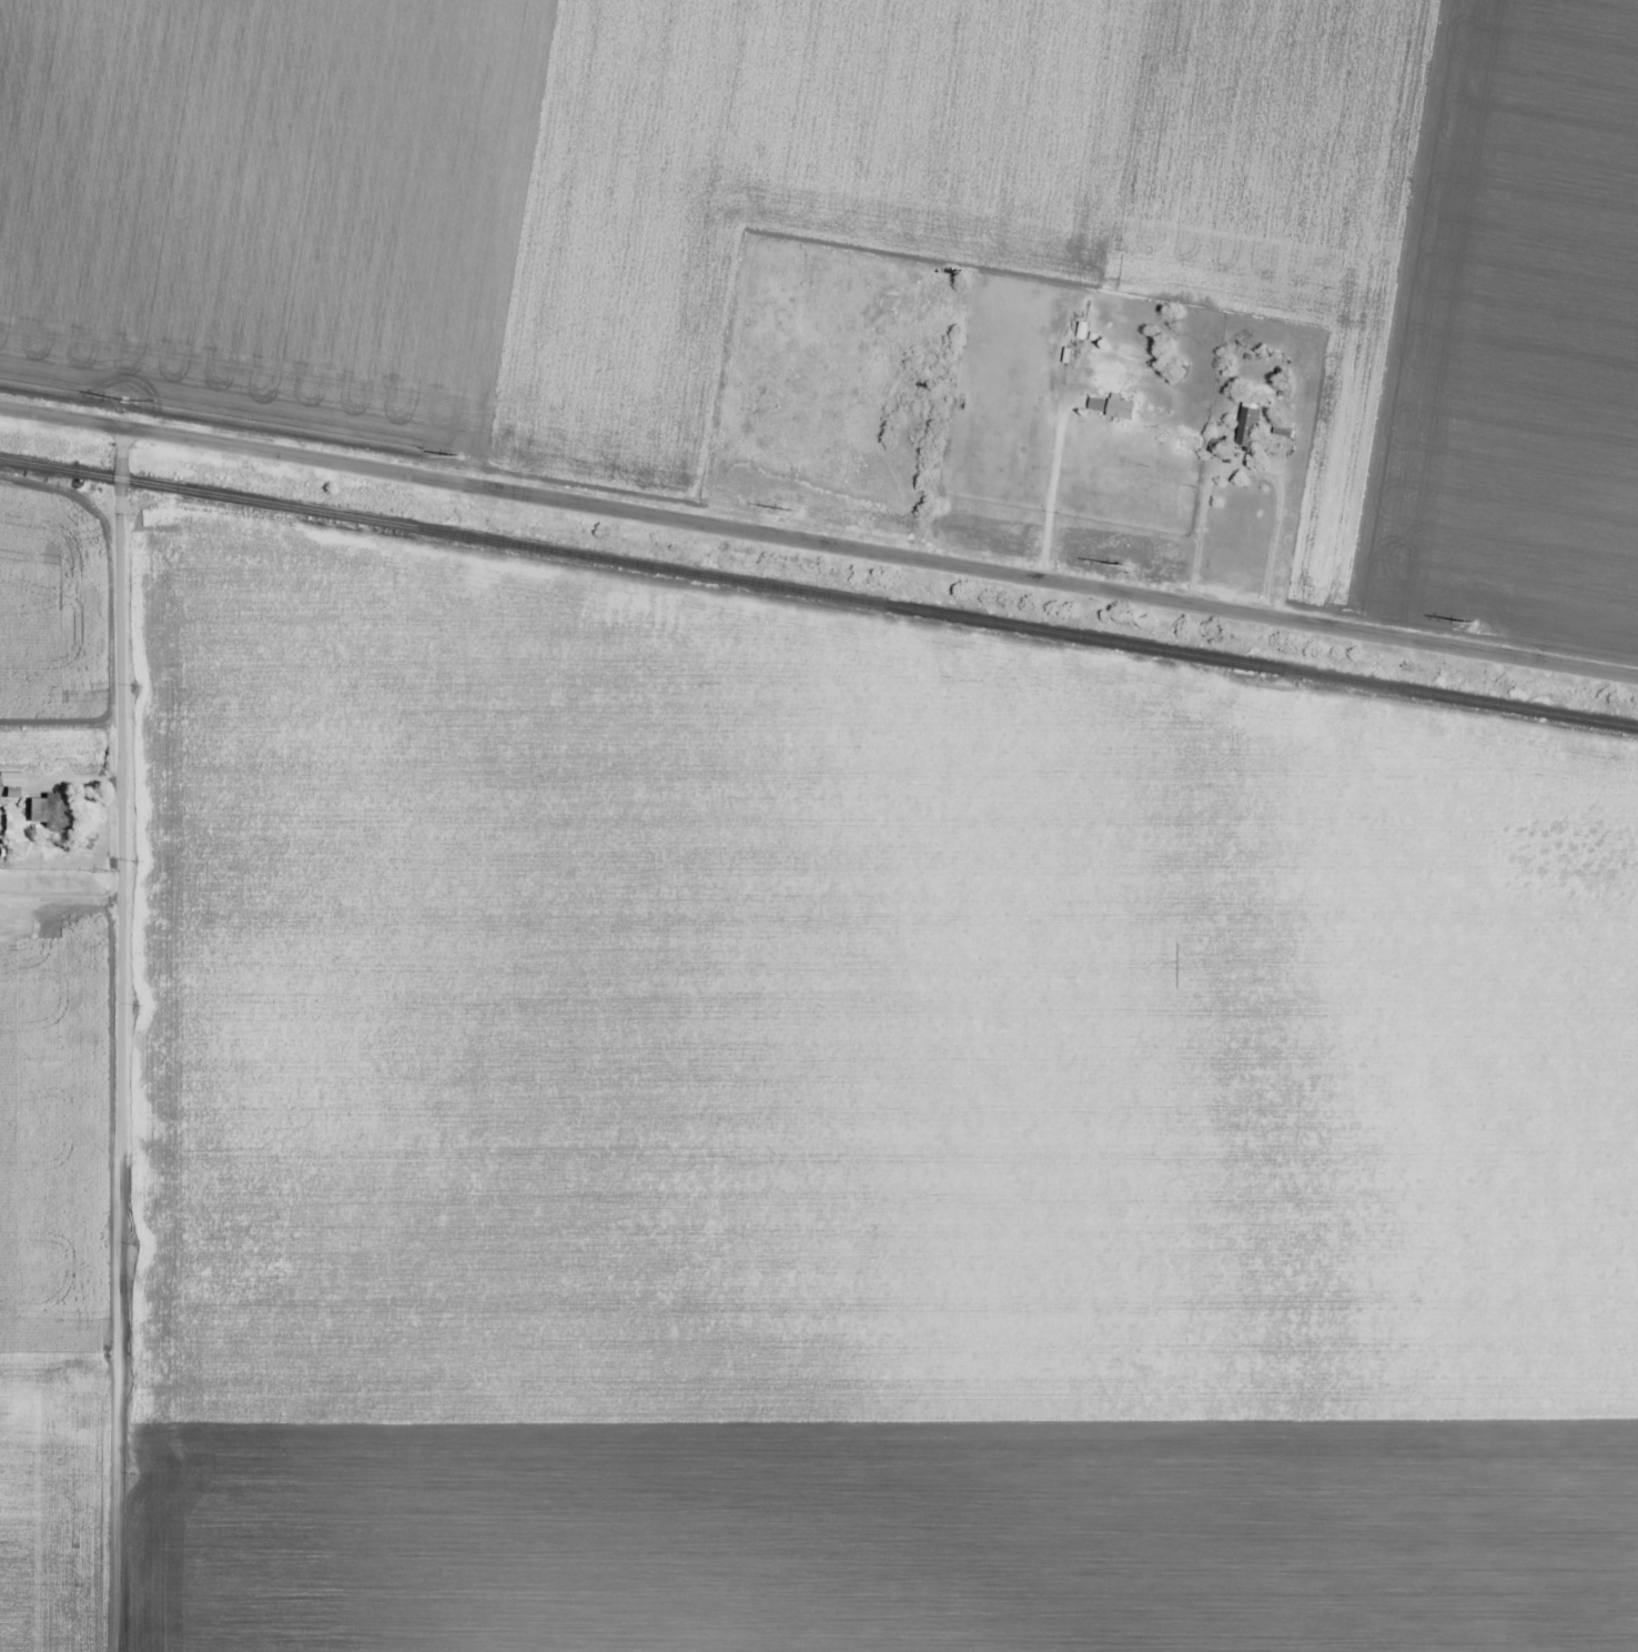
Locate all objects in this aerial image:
building: (1085, 324)
building: (933, 360)
building: (918, 395)
power tower: (117, 403)
building: (1253, 426)
power tower: (453, 457)
power tower: (790, 514)
road: (819, 541)
power tower: (1131, 571)
railway: (818, 593)
power tower: (1467, 623)
building: (12, 779)
building: (50, 813)
road: (121, 1039)

